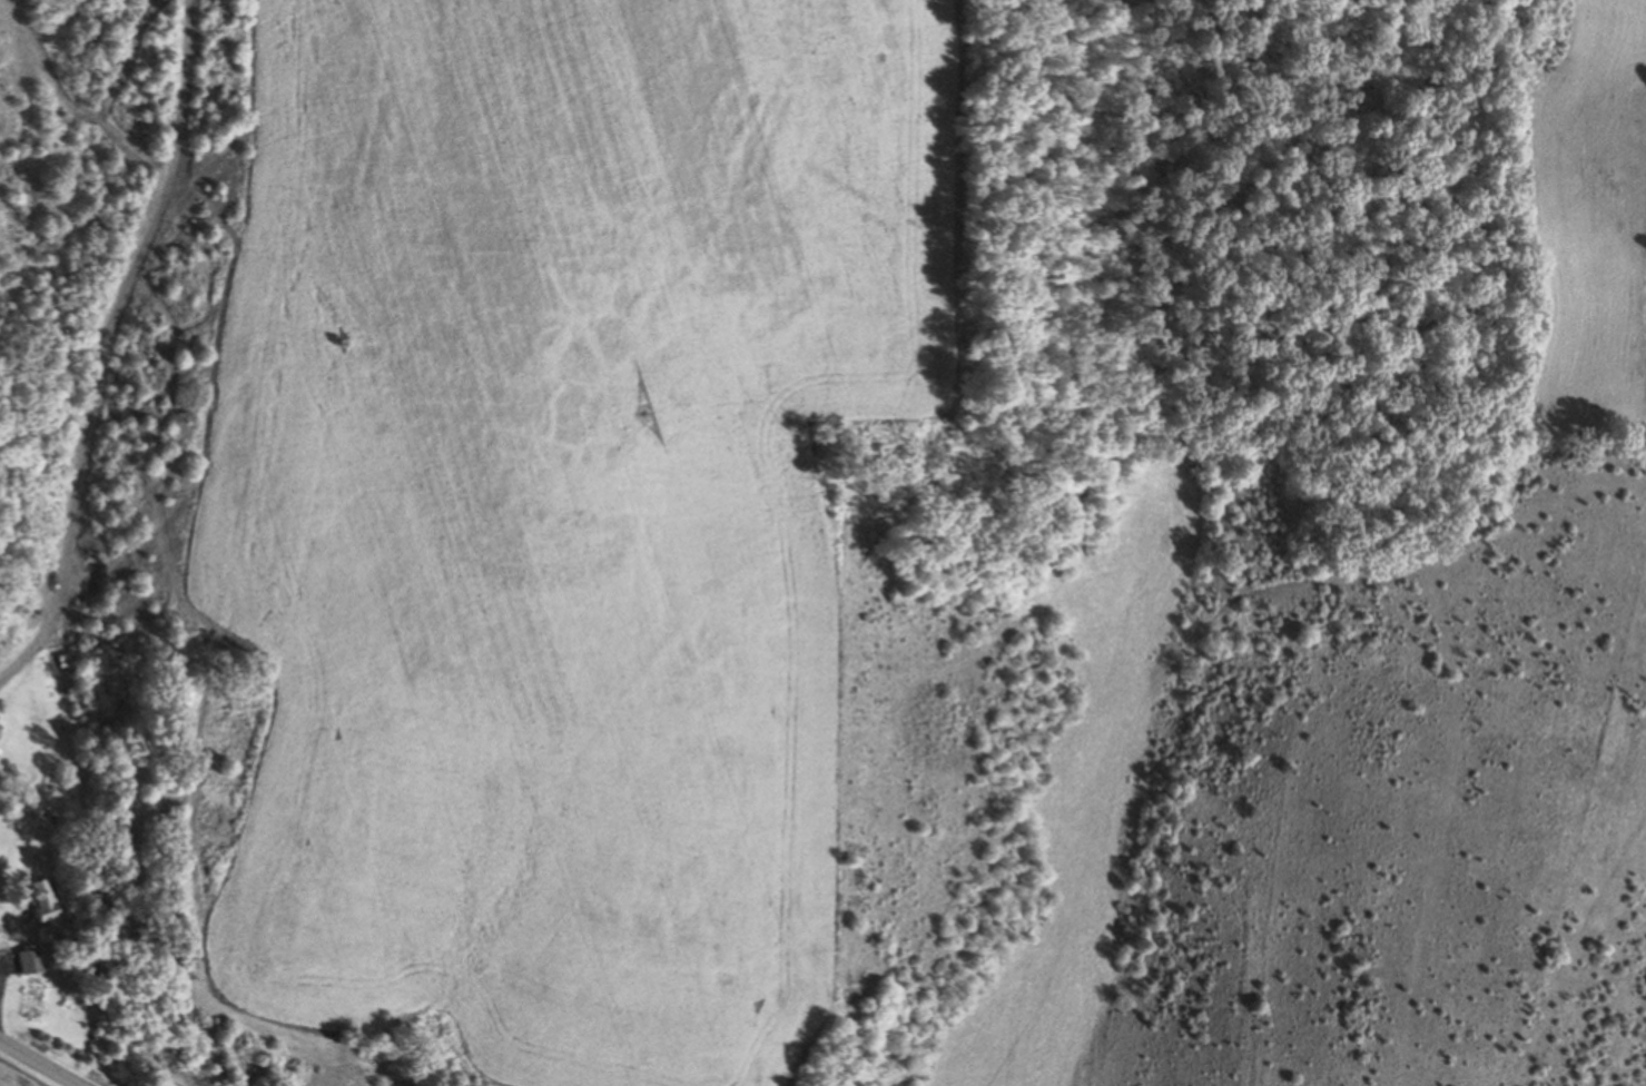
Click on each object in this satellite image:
road: (97, 345)
building: (42, 898)
building: (29, 959)
road: (38, 1064)

